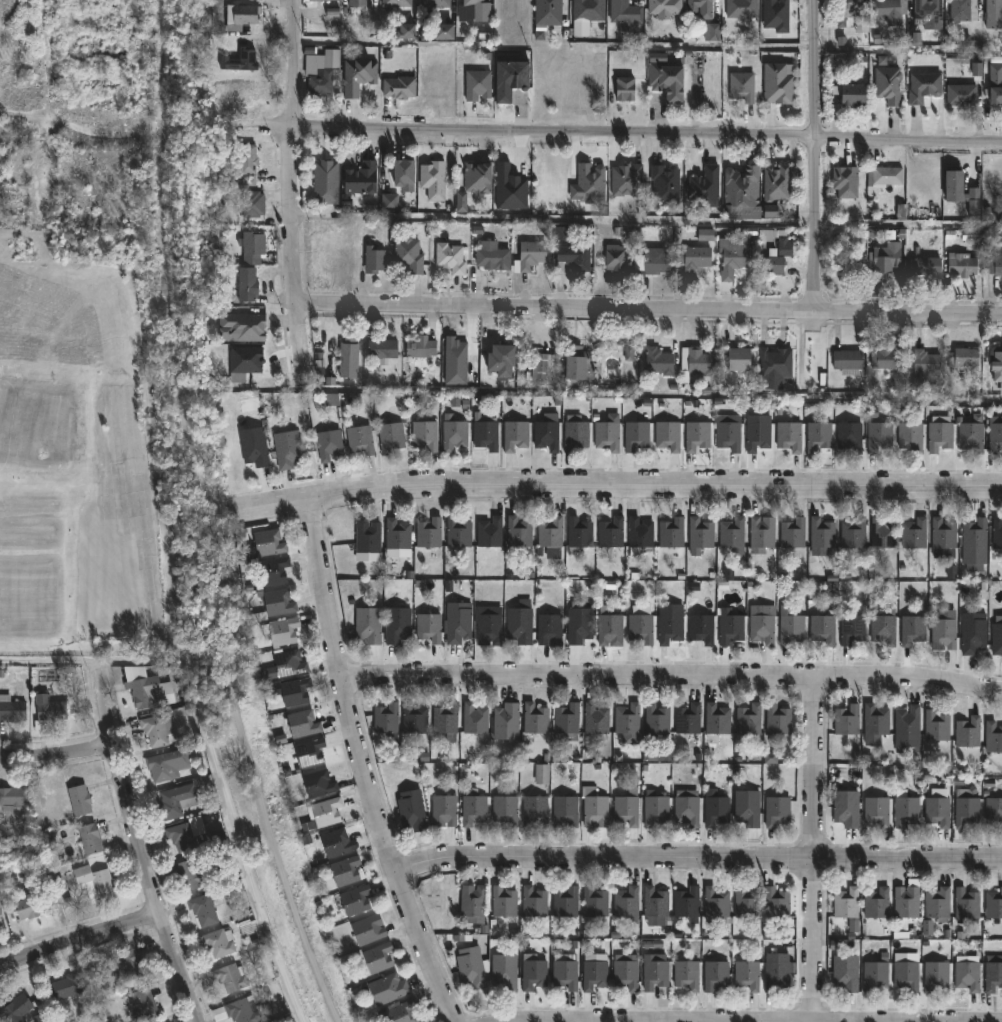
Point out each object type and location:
building: (324, 0)
building: (474, 2)
building: (355, 3)
building: (395, 3)
building: (437, 3)
building: (664, 7)
building: (700, 8)
building: (741, 8)
building: (890, 10)
building: (961, 10)
building: (624, 11)
building: (928, 11)
building: (547, 12)
building: (587, 12)
building: (239, 13)
building: (853, 13)
building: (993, 14)
building: (444, 33)
building: (239, 60)
road: (49, 61)
railway: (165, 65)
building: (356, 75)
building: (321, 80)
building: (511, 80)
building: (665, 80)
building: (778, 83)
building: (996, 83)
building: (476, 84)
building: (888, 84)
building: (741, 86)
building: (924, 86)
building: (398, 87)
building: (623, 87)
building: (850, 94)
building: (961, 94)
road: (24, 122)
road: (525, 136)
road: (816, 156)
building: (245, 165)
building: (402, 171)
building: (883, 177)
building: (359, 178)
building: (477, 179)
building: (626, 179)
building: (325, 180)
building: (844, 181)
building: (665, 183)
building: (776, 183)
building: (588, 184)
building: (953, 185)
building: (704, 187)
building: (740, 189)
road: (291, 191)
building: (392, 202)
building: (251, 203)
road: (909, 224)
building: (706, 236)
building: (253, 243)
building: (531, 253)
building: (408, 254)
building: (733, 256)
building: (450, 257)
building: (572, 257)
building: (613, 257)
building: (693, 257)
building: (885, 257)
building: (373, 258)
building: (491, 258)
building: (653, 262)
building: (771, 263)
building: (845, 264)
building: (994, 264)
building: (925, 265)
building: (964, 265)
building: (246, 283)
road: (648, 310)
building: (242, 326)
building: (421, 348)
building: (382, 349)
building: (348, 357)
building: (963, 357)
building: (498, 359)
building: (739, 359)
building: (887, 359)
building: (632, 360)
building: (658, 361)
building: (700, 361)
building: (848, 361)
building: (926, 362)
building: (996, 363)
building: (576, 365)
building: (544, 367)
building: (773, 367)
building: (485, 433)
building: (994, 434)
building: (424, 435)
building: (454, 435)
building: (515, 435)
building: (546, 435)
building: (575, 435)
building: (607, 435)
building: (636, 435)
building: (697, 435)
building: (728, 435)
building: (390, 436)
building: (667, 436)
building: (757, 436)
building: (789, 436)
building: (818, 436)
building: (849, 436)
building: (879, 436)
building: (910, 436)
building: (939, 436)
building: (971, 437)
building: (360, 440)
building: (328, 445)
building: (254, 446)
building: (286, 449)
road: (618, 483)
building: (457, 532)
building: (490, 532)
building: (611, 532)
building: (997, 532)
building: (429, 533)
building: (578, 533)
building: (671, 533)
building: (793, 533)
building: (822, 533)
building: (853, 533)
building: (883, 533)
building: (914, 533)
building: (517, 534)
building: (762, 534)
building: (944, 534)
building: (700, 535)
building: (732, 535)
building: (550, 536)
building: (640, 536)
building: (367, 537)
building: (397, 538)
building: (267, 542)
building: (241, 543)
building: (974, 544)
building: (272, 570)
railway: (216, 584)
building: (278, 602)
building: (457, 622)
building: (368, 624)
building: (397, 624)
building: (488, 625)
building: (519, 625)
building: (579, 625)
building: (763, 625)
building: (428, 627)
building: (729, 627)
building: (609, 628)
building: (641, 628)
building: (670, 628)
building: (701, 628)
building: (884, 628)
building: (549, 629)
building: (791, 629)
building: (823, 629)
building: (852, 630)
building: (912, 630)
building: (282, 631)
building: (972, 633)
building: (943, 634)
building: (997, 637)
road: (46, 661)
building: (289, 663)
road: (671, 680)
building: (145, 689)
building: (294, 692)
building: (11, 709)
building: (50, 711)
building: (413, 718)
building: (445, 718)
building: (473, 718)
building: (534, 719)
building: (595, 719)
building: (627, 719)
building: (656, 719)
building: (688, 719)
building: (717, 719)
building: (748, 719)
building: (847, 719)
building: (386, 720)
building: (567, 721)
building: (506, 722)
building: (777, 723)
building: (302, 724)
building: (875, 724)
building: (908, 726)
building: (936, 726)
building: (154, 731)
building: (968, 732)
building: (993, 738)
building: (309, 752)
road: (56, 755)
building: (166, 765)
road: (362, 765)
building: (318, 784)
building: (11, 797)
building: (79, 799)
road: (227, 799)
building: (175, 801)
building: (687, 807)
building: (937, 807)
building: (594, 808)
building: (655, 808)
building: (748, 808)
building: (845, 808)
building: (905, 808)
building: (505, 809)
building: (626, 809)
building: (776, 809)
building: (411, 810)
building: (443, 810)
building: (473, 810)
building: (716, 810)
building: (877, 810)
building: (993, 810)
building: (967, 811)
building: (326, 812)
building: (535, 812)
building: (565, 812)
building: (89, 837)
building: (182, 837)
road: (140, 842)
building: (335, 843)
road: (812, 852)
road: (696, 858)
building: (344, 871)
building: (186, 876)
road: (54, 878)
building: (93, 881)
building: (502, 900)
building: (355, 901)
building: (533, 901)
building: (565, 901)
building: (594, 901)
building: (655, 901)
building: (715, 901)
building: (906, 901)
building: (472, 902)
building: (747, 902)
building: (776, 902)
building: (876, 902)
building: (0, 903)
building: (626, 903)
building: (687, 903)
building: (966, 903)
building: (993, 903)
building: (937, 904)
building: (28, 905)
building: (847, 905)
building: (202, 909)
building: (368, 929)
road: (80, 937)
building: (217, 941)
building: (378, 957)
building: (129, 964)
building: (473, 970)
building: (504, 971)
building: (595, 971)
building: (654, 971)
building: (533, 972)
building: (565, 972)
building: (626, 972)
building: (776, 972)
building: (846, 972)
building: (876, 973)
building: (993, 973)
building: (686, 974)
building: (715, 974)
building: (747, 974)
building: (906, 974)
building: (935, 975)
building: (966, 975)
building: (229, 977)
building: (65, 985)
building: (387, 988)
building: (141, 1004)
building: (20, 1010)
building: (237, 1011)
building: (402, 1012)
road: (708, 1021)

